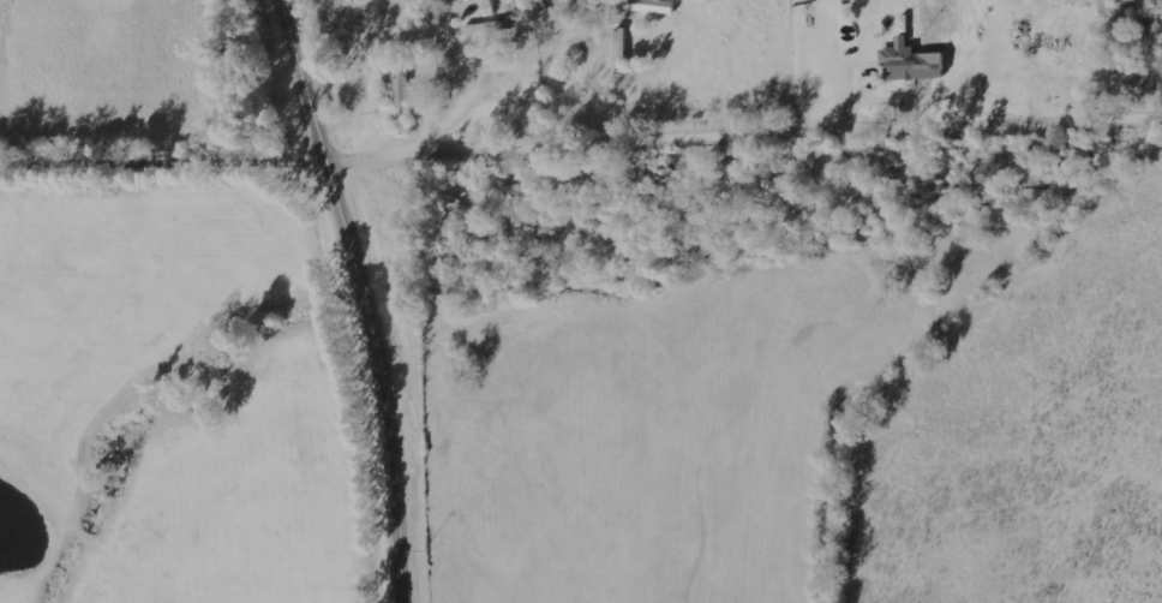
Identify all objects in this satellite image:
building: (914, 62)
building: (406, 83)
road: (443, 119)
road: (583, 148)
road: (370, 297)

